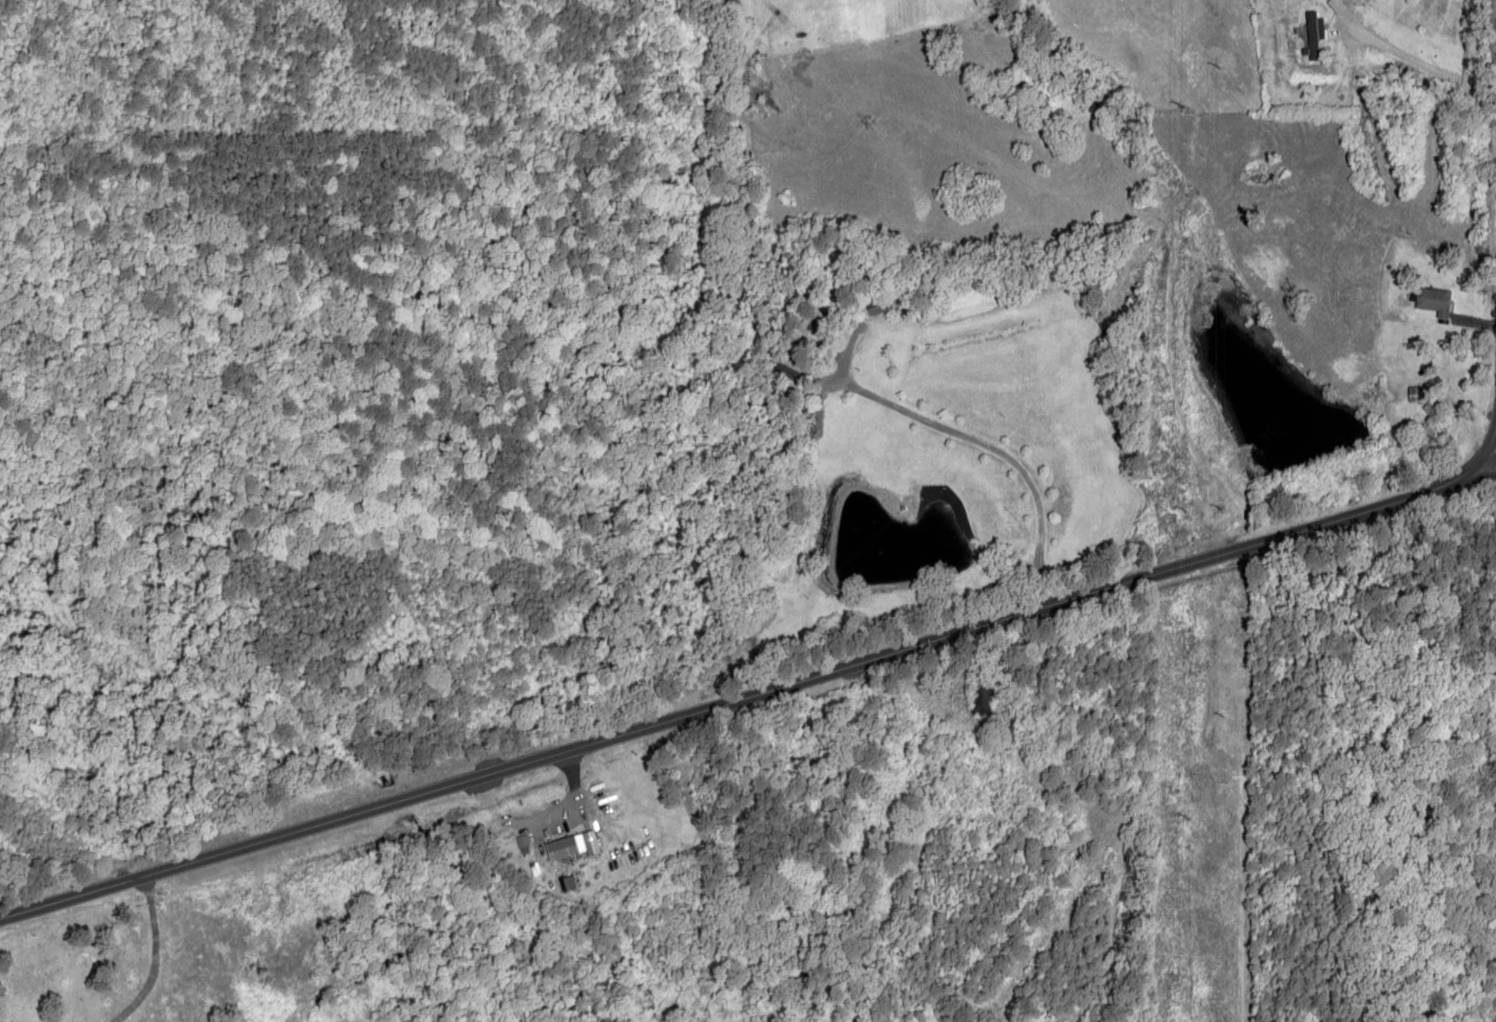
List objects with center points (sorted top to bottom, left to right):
building: (1335, 5)
building: (1312, 33)
building: (1432, 300)
road: (1492, 308)
building: (1417, 394)
road: (1492, 446)
road: (752, 693)
building: (588, 843)
building: (559, 848)

